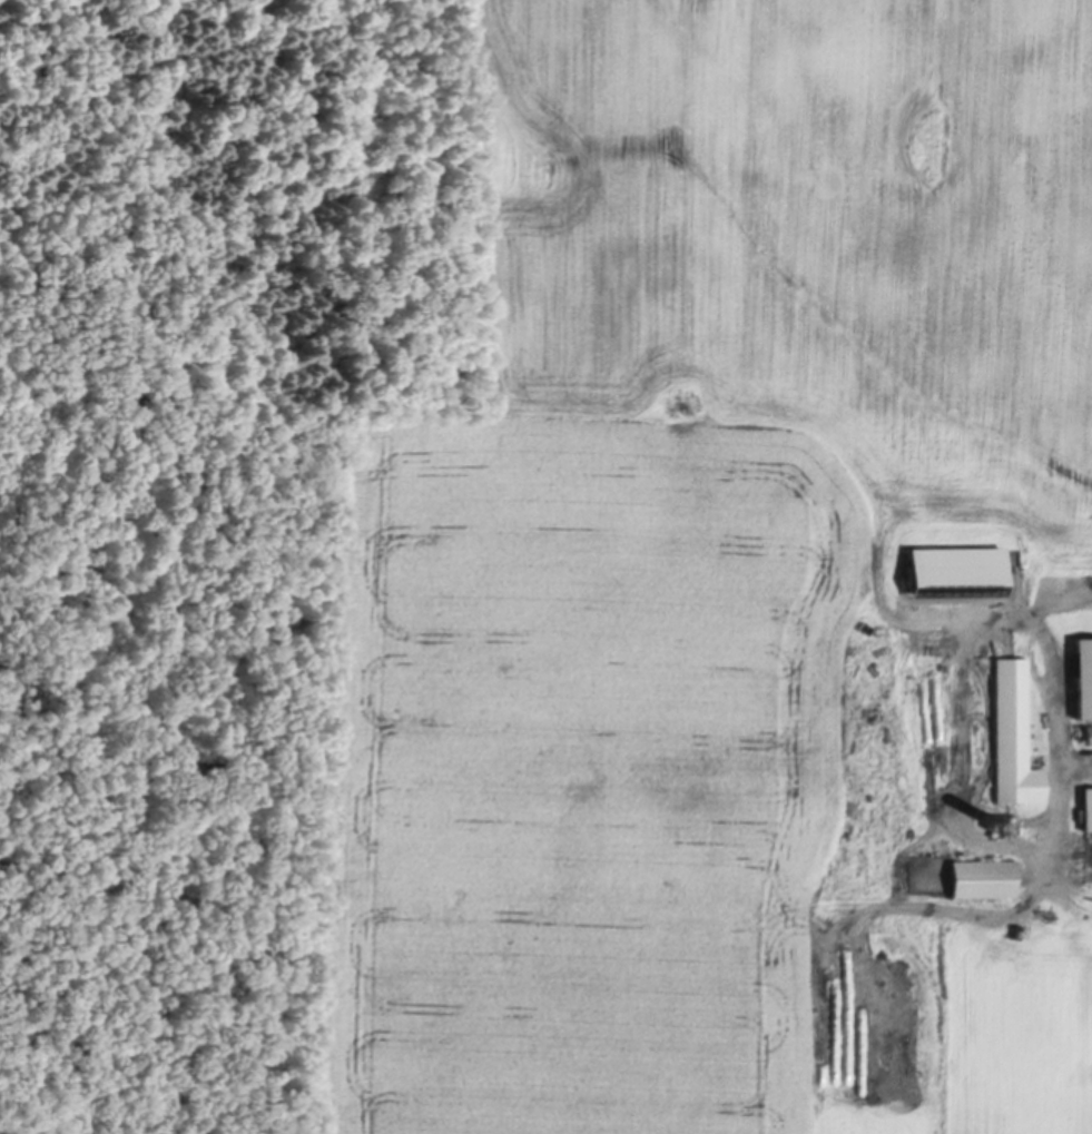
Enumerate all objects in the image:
building: (1080, 673)
building: (1086, 731)
road: (1083, 761)
building: (1015, 793)
building: (978, 875)

